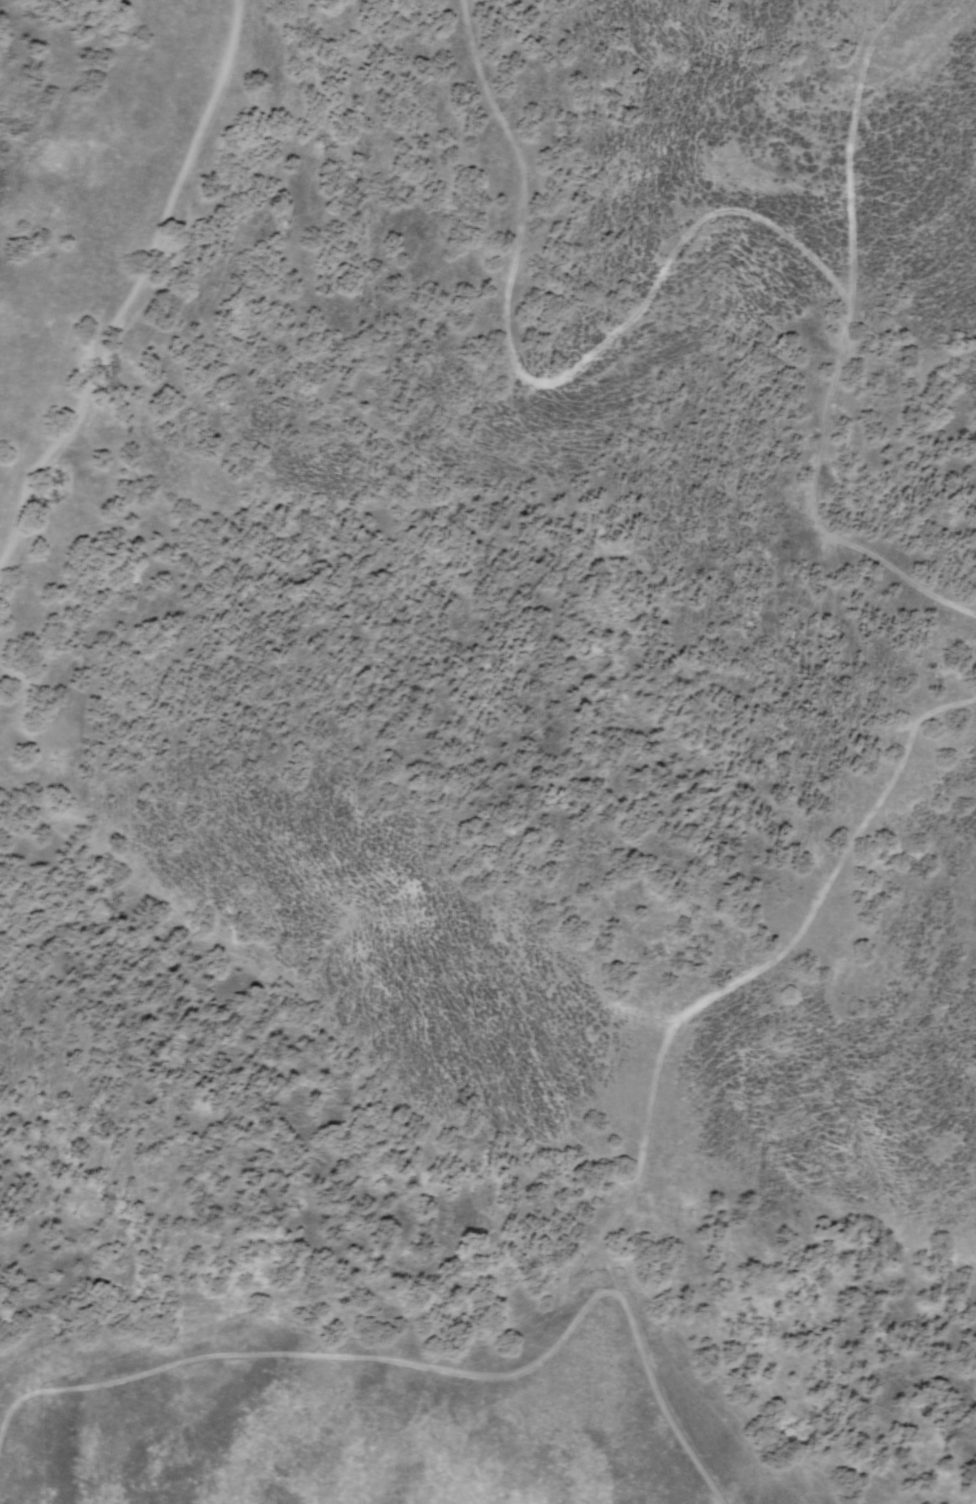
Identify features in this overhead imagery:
road: (852, 144)
road: (682, 241)
road: (129, 292)
road: (662, 1052)

